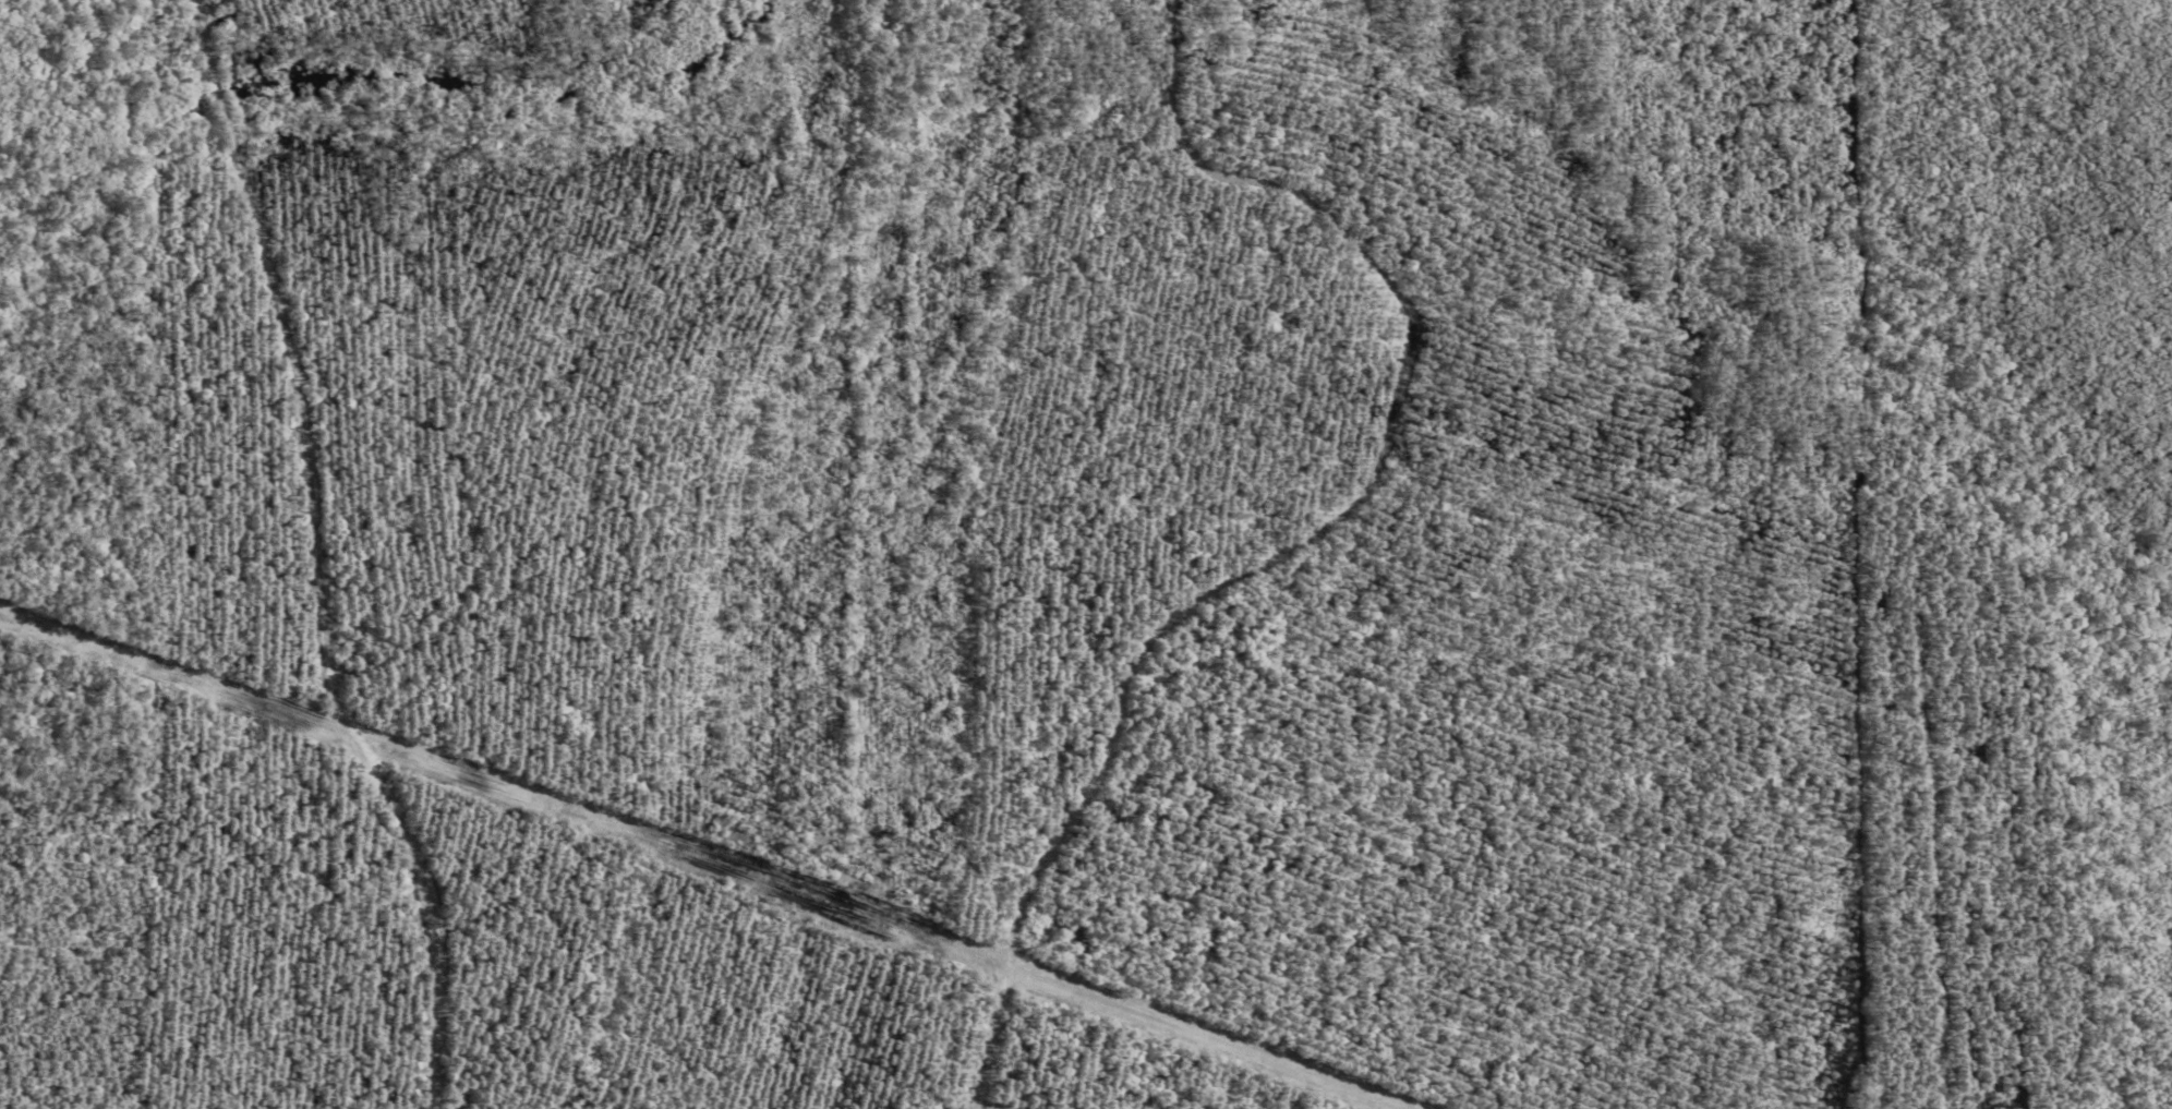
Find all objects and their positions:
road: (999, 997)

